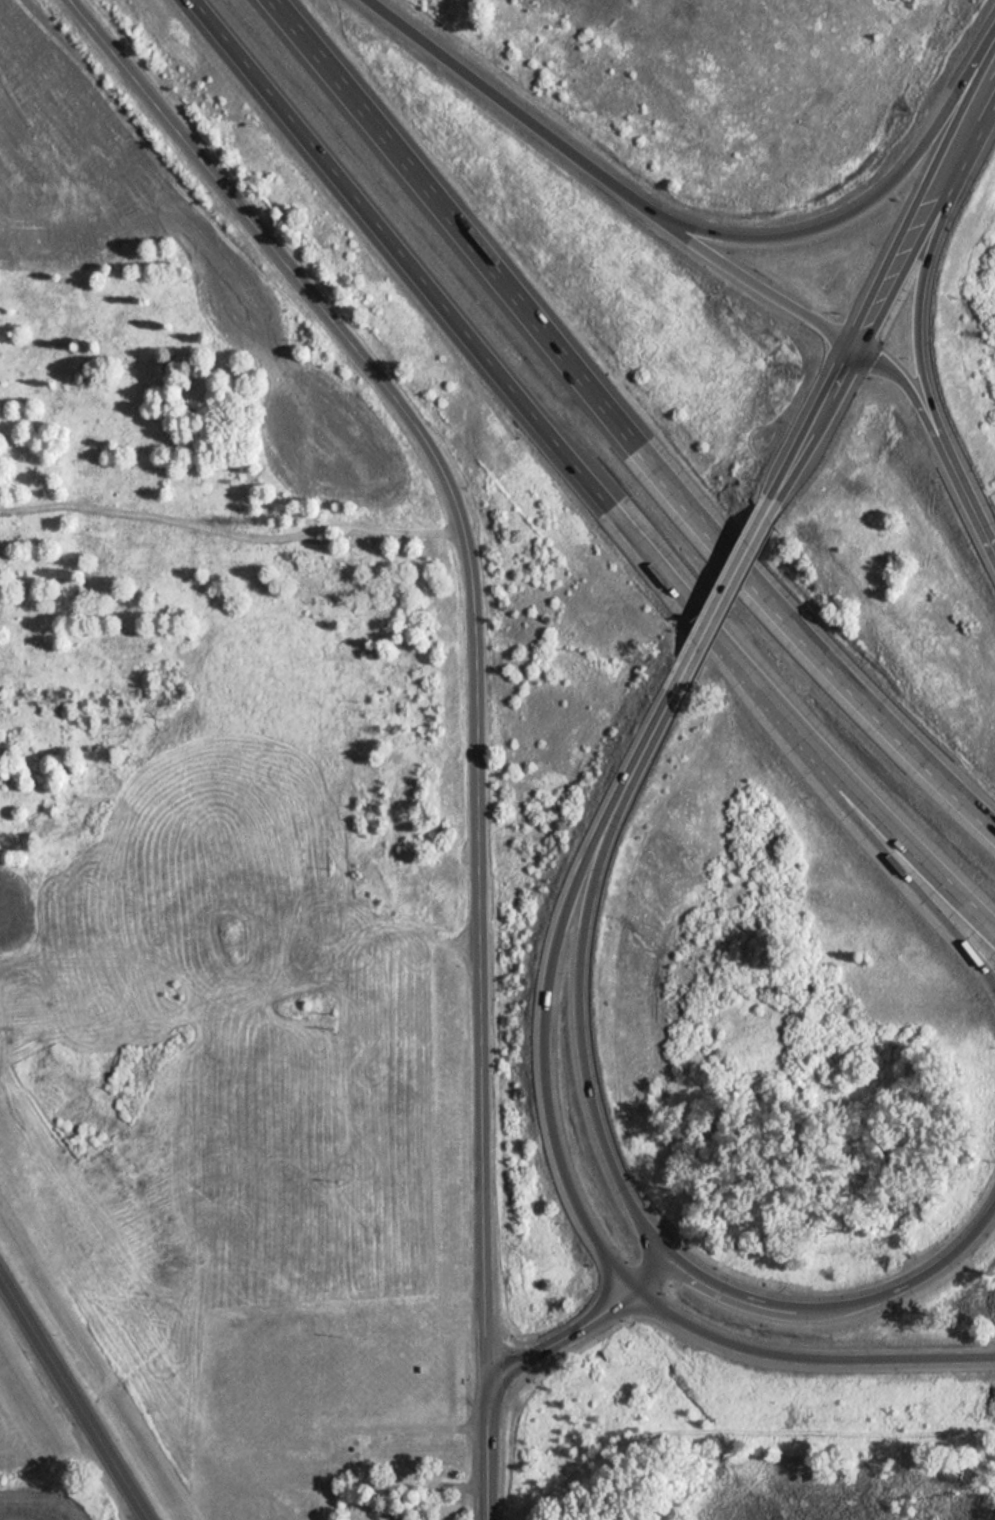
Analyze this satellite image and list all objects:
road: (983, 47)
road: (502, 100)
road: (169, 118)
road: (970, 131)
road: (833, 214)
road: (901, 259)
road: (743, 269)
road: (918, 321)
road: (913, 392)
road: (810, 426)
road: (622, 431)
road: (562, 446)
road: (973, 505)
road: (724, 590)
road: (661, 712)
road: (477, 775)
road: (883, 847)
road: (970, 898)
road: (577, 1011)
road: (543, 1024)
road: (662, 1258)
road: (645, 1276)
road: (845, 1301)
road: (757, 1307)
road: (562, 1336)
road: (806, 1354)
road: (74, 1398)
road: (486, 1448)

